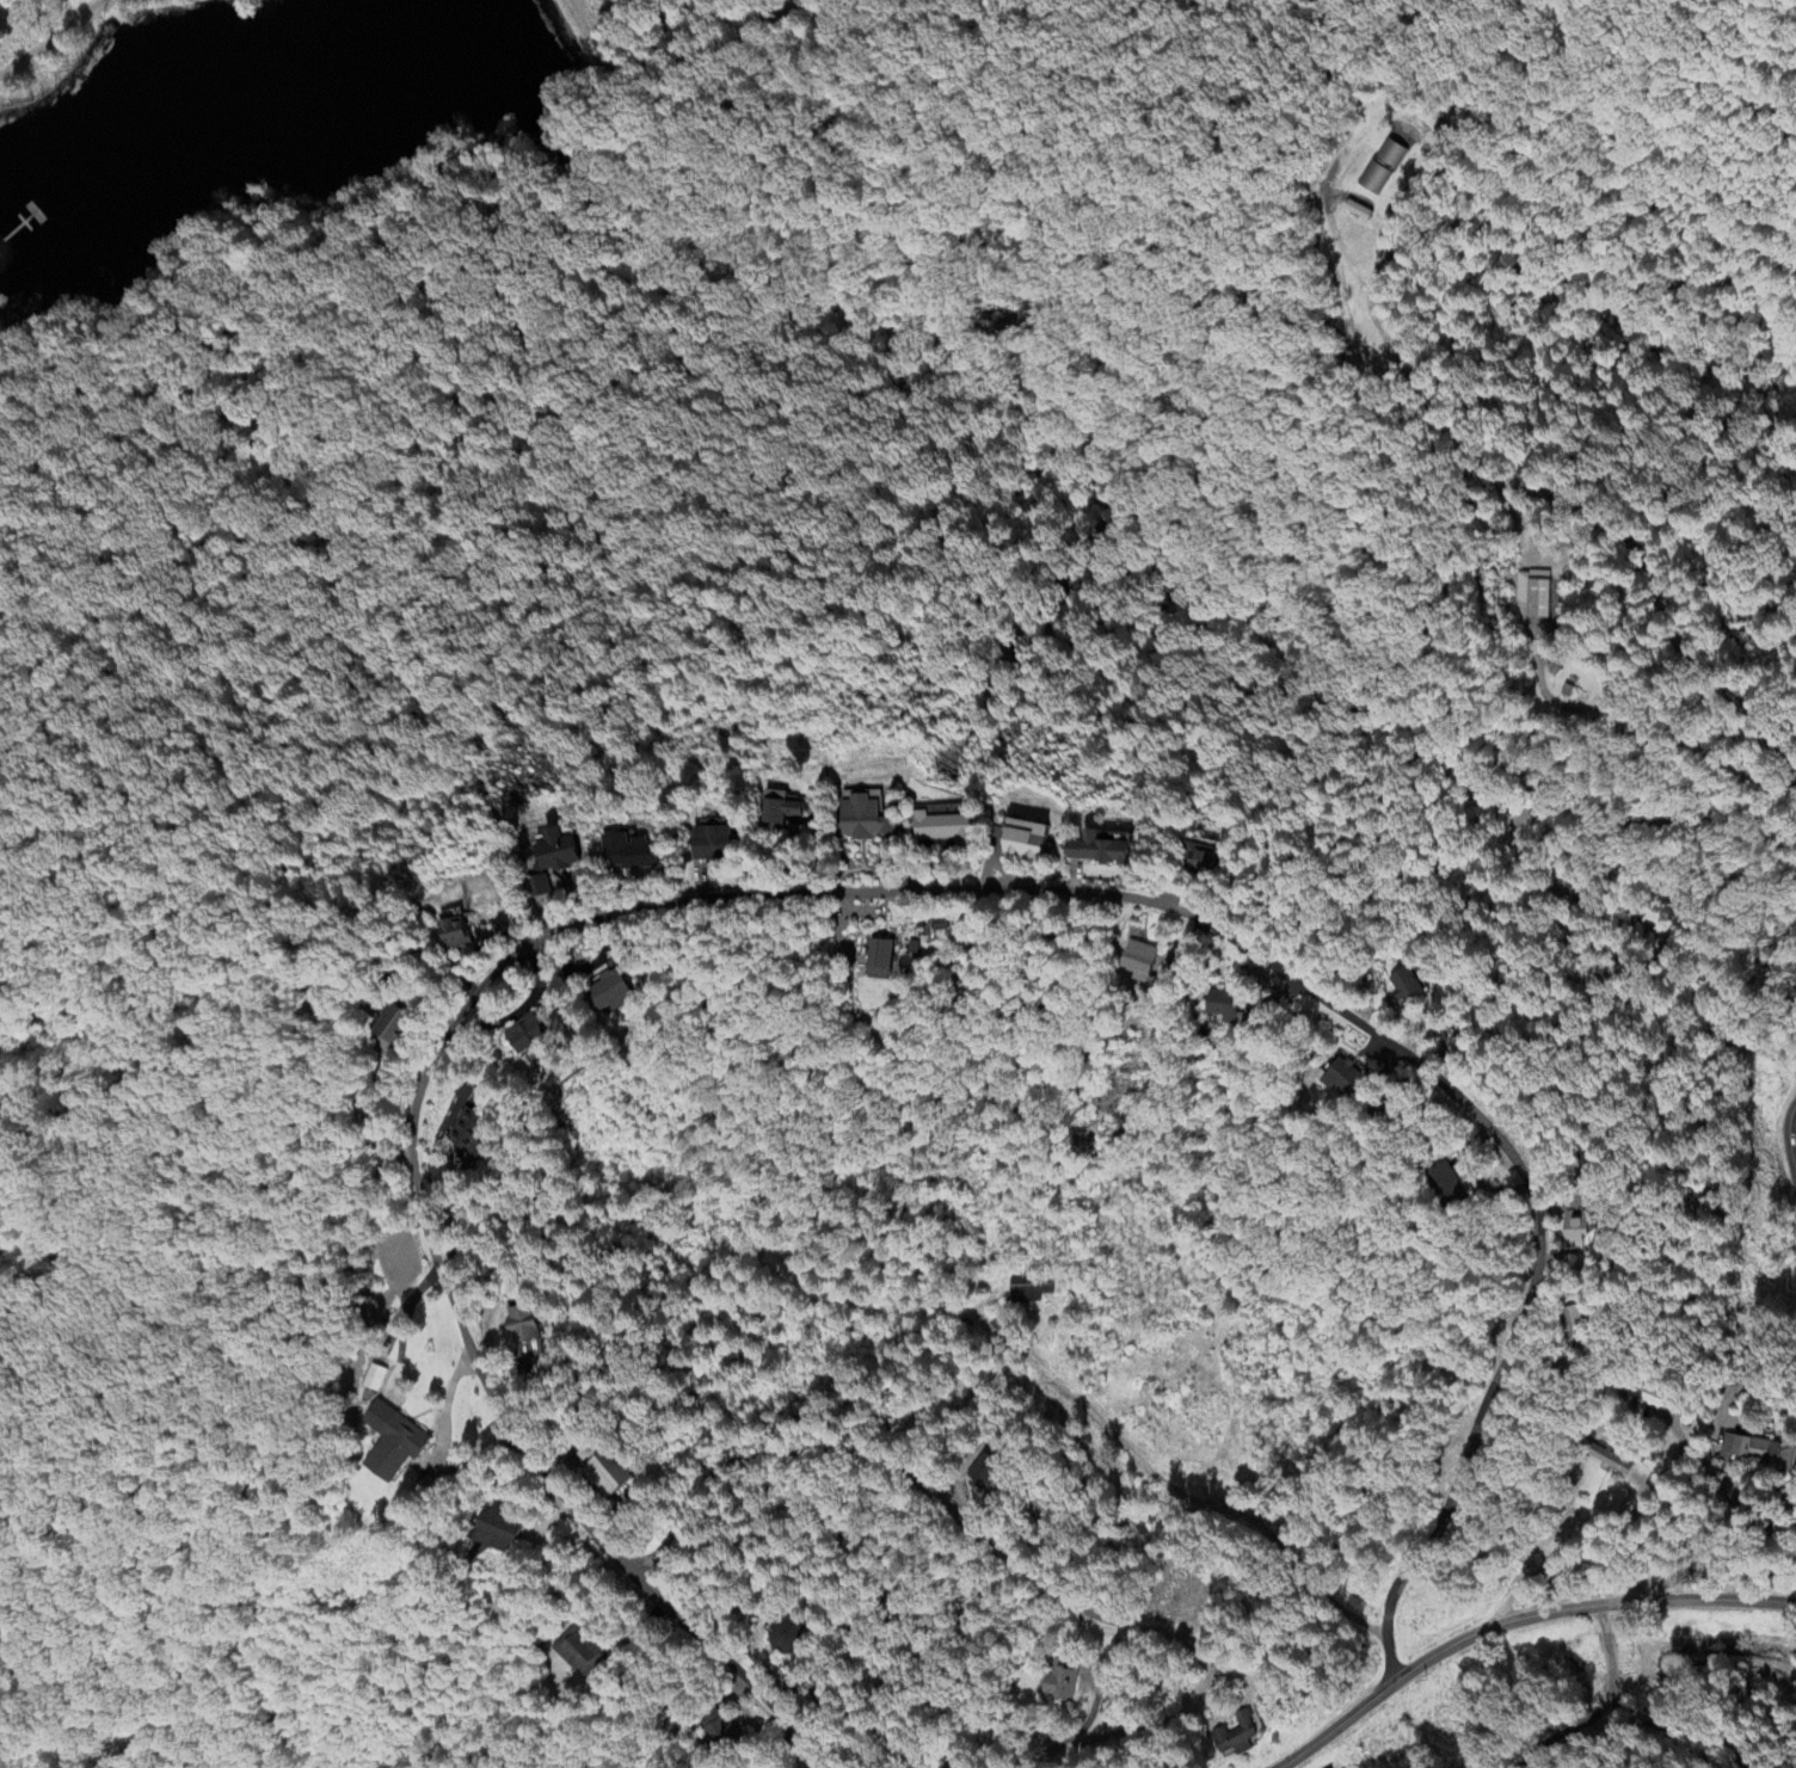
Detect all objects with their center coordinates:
road: (50, 33)
road: (684, 64)
building: (1382, 171)
pier: (36, 212)
pier: (21, 226)
road: (1594, 512)
building: (1532, 595)
road: (1702, 751)
building: (780, 814)
building: (860, 820)
building: (937, 830)
building: (1016, 840)
building: (706, 843)
building: (1089, 850)
building: (546, 851)
building: (619, 852)
building: (1193, 860)
road: (1532, 869)
road: (856, 893)
building: (443, 935)
building: (878, 960)
building: (1134, 961)
building: (1407, 987)
building: (604, 993)
building: (1223, 1008)
building: (380, 1024)
building: (521, 1034)
building: (1341, 1077)
building: (467, 1133)
road: (1795, 1144)
building: (1446, 1187)
building: (1575, 1232)
building: (1032, 1288)
building: (1576, 1324)
building: (519, 1325)
building: (373, 1380)
building: (1649, 1400)
building: (389, 1443)
building: (1757, 1455)
building: (1607, 1460)
road: (1133, 1462)
building: (604, 1474)
building: (980, 1474)
building: (498, 1532)
road: (1007, 1556)
road: (1757, 1581)
road: (1519, 1621)
building: (579, 1653)
building: (1060, 1684)
road: (1601, 1708)
building: (1236, 1737)

